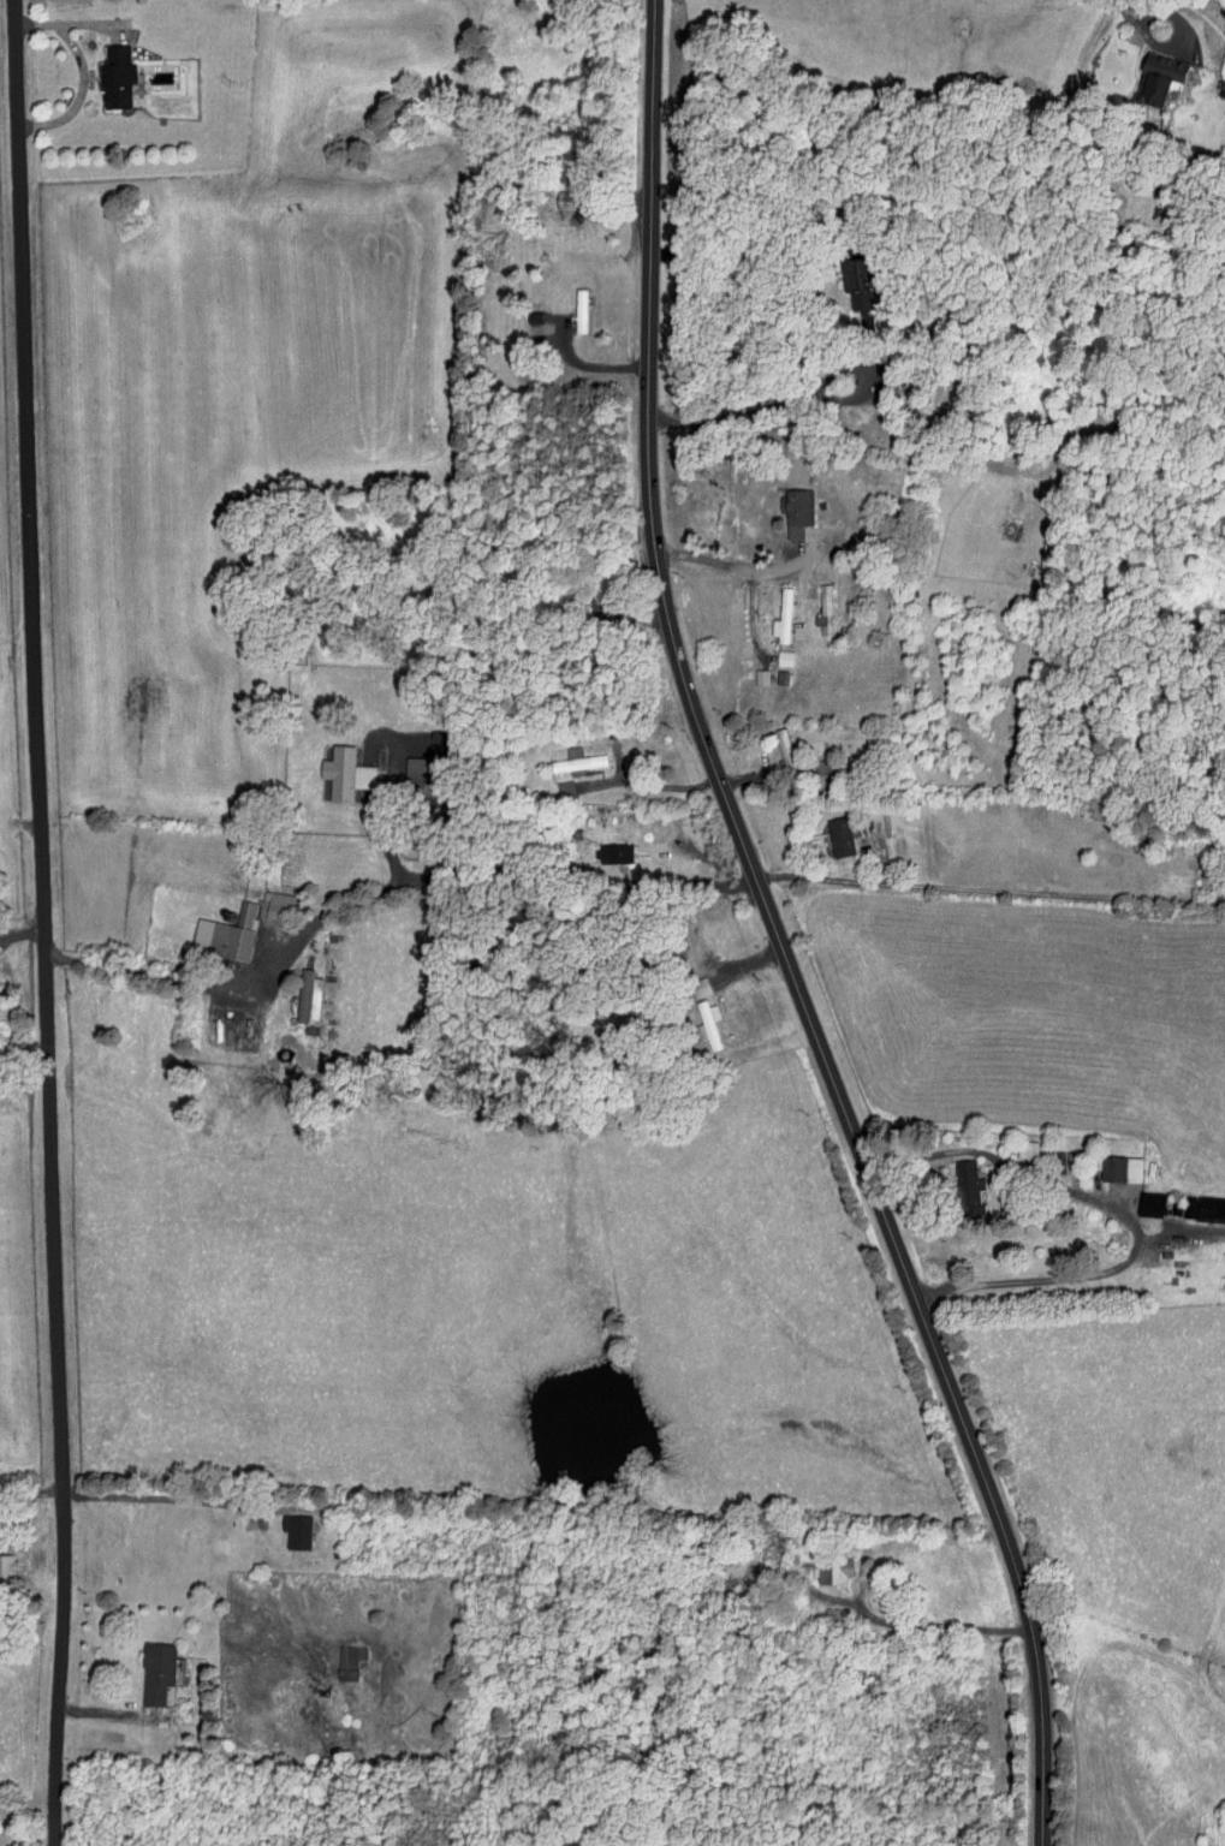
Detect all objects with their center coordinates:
road: (1149, 14)
road: (81, 73)
building: (114, 77)
building: (1153, 78)
road: (749, 237)
building: (578, 310)
road: (587, 365)
road: (772, 406)
building: (797, 511)
road: (739, 564)
building: (823, 608)
building: (781, 617)
building: (784, 659)
building: (760, 677)
building: (576, 761)
building: (344, 773)
road: (654, 785)
road: (382, 827)
building: (838, 835)
building: (612, 853)
road: (386, 887)
road: (992, 887)
building: (272, 905)
road: (43, 923)
building: (225, 935)
road: (779, 935)
road: (747, 959)
building: (307, 993)
building: (707, 1024)
building: (1118, 1168)
building: (965, 1185)
building: (1148, 1202)
building: (1202, 1205)
road: (1124, 1215)
road: (162, 1495)
building: (295, 1531)
building: (6, 1567)
building: (828, 1571)
road: (912, 1626)
building: (349, 1661)
building: (155, 1672)

